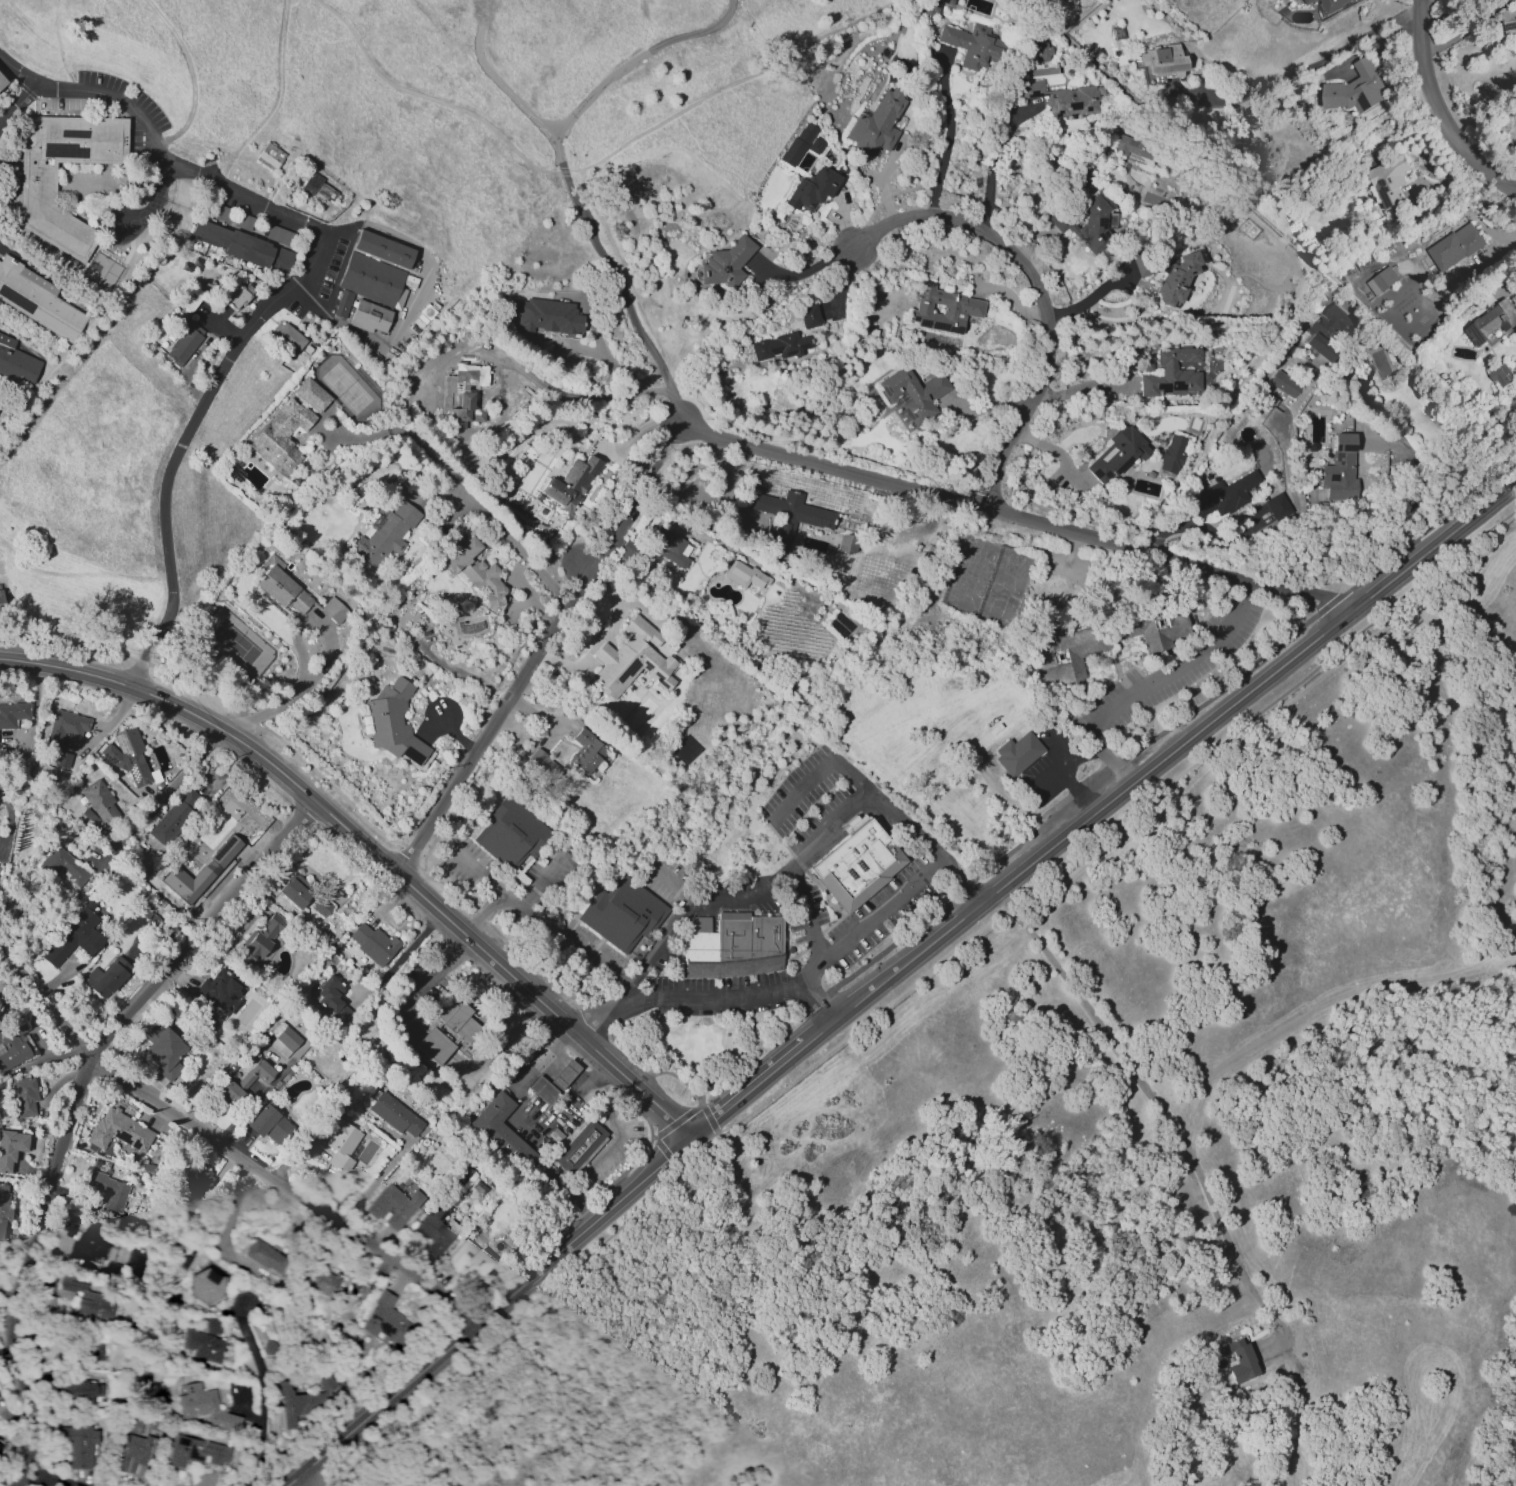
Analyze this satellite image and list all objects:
building: (1308, 1)
building: (1332, 4)
road: (50, 7)
road: (1448, 16)
building: (1508, 20)
road: (1467, 27)
road: (58, 39)
road: (1377, 43)
building: (971, 44)
building: (1043, 51)
building: (1161, 63)
road: (18, 71)
road: (1302, 72)
building: (1, 81)
building: (1356, 89)
parking lot: (125, 93)
road: (591, 96)
building: (1062, 98)
road: (16, 103)
road: (1438, 110)
road: (264, 116)
building: (877, 122)
road: (149, 128)
road: (948, 135)
building: (798, 144)
building: (815, 146)
building: (1132, 147)
building: (270, 156)
building: (1249, 156)
road: (598, 157)
road: (13, 160)
road: (37, 162)
road: (992, 164)
building: (1388, 181)
building: (37, 182)
building: (318, 188)
building: (812, 188)
road: (58, 201)
building: (1086, 224)
road: (1282, 233)
building: (243, 246)
building: (383, 247)
building: (1455, 247)
road: (316, 252)
road: (1498, 254)
building: (724, 266)
park: (102, 270)
road: (615, 272)
road: (800, 273)
building: (1175, 277)
building: (371, 278)
building: (1382, 281)
road: (1039, 292)
building: (237, 295)
road: (415, 297)
road: (1092, 297)
building: (38, 299)
building: (342, 302)
building: (943, 309)
building: (369, 315)
building: (809, 315)
building: (547, 316)
building: (1491, 324)
building: (1328, 330)
building: (287, 336)
building: (183, 343)
building: (779, 346)
building: (17, 361)
building: (1171, 373)
building: (1501, 375)
building: (1283, 383)
park: (345, 388)
road: (1084, 390)
building: (467, 392)
road: (567, 393)
building: (311, 394)
building: (924, 395)
road: (674, 429)
building: (281, 436)
road: (662, 449)
building: (1117, 454)
building: (1171, 455)
building: (1340, 469)
building: (570, 483)
road: (463, 492)
building: (1224, 495)
building: (1277, 505)
road: (629, 506)
building: (788, 513)
road: (1015, 514)
building: (385, 535)
road: (165, 542)
building: (668, 546)
road: (594, 559)
building: (475, 571)
building: (743, 574)
building: (280, 586)
building: (333, 610)
building: (0, 618)
road: (606, 637)
park: (235, 641)
building: (1104, 641)
road: (72, 644)
building: (632, 659)
road: (1157, 687)
road: (300, 692)
building: (13, 713)
road: (533, 714)
road: (494, 721)
building: (394, 723)
building: (66, 726)
road: (1166, 731)
road: (457, 735)
building: (586, 751)
building: (1017, 754)
building: (128, 757)
building: (62, 759)
road: (1159, 762)
building: (544, 768)
road: (820, 772)
road: (167, 791)
parking lot: (817, 804)
building: (98, 807)
building: (175, 816)
road: (10, 822)
road: (773, 825)
road: (906, 825)
road: (1116, 827)
building: (511, 833)
road: (382, 836)
building: (225, 850)
road: (371, 850)
road: (796, 864)
building: (61, 865)
building: (856, 865)
building: (1, 871)
road: (806, 872)
road: (540, 881)
building: (186, 882)
road: (959, 883)
building: (295, 891)
road: (701, 902)
building: (323, 904)
road: (483, 914)
building: (625, 916)
road: (537, 923)
parking lot: (857, 933)
building: (75, 936)
building: (260, 938)
road: (811, 939)
building: (373, 943)
road: (657, 944)
building: (731, 945)
road: (407, 953)
road: (732, 972)
road: (661, 973)
building: (106, 978)
road: (805, 979)
road: (428, 983)
building: (217, 993)
building: (332, 999)
road: (818, 1001)
road: (48, 1003)
road: (603, 1012)
building: (446, 1032)
building: (284, 1038)
building: (14, 1045)
park: (701, 1046)
road: (433, 1047)
road: (498, 1049)
building: (164, 1050)
building: (243, 1082)
building: (552, 1082)
road: (747, 1090)
building: (25, 1096)
road: (72, 1108)
road: (1164, 1112)
building: (394, 1114)
road: (677, 1120)
road: (711, 1122)
road: (516, 1123)
building: (269, 1124)
building: (503, 1132)
building: (340, 1142)
building: (579, 1146)
building: (10, 1148)
road: (604, 1155)
road: (669, 1158)
road: (636, 1159)
road: (374, 1181)
road: (285, 1186)
building: (194, 1190)
building: (109, 1191)
building: (393, 1206)
building: (4, 1207)
road: (227, 1217)
building: (435, 1231)
building: (84, 1239)
building: (265, 1257)
building: (469, 1259)
building: (324, 1283)
building: (207, 1285)
building: (87, 1298)
road: (487, 1312)
road: (539, 1318)
building: (386, 1321)
building: (204, 1341)
building: (1233, 1359)
building: (79, 1390)
road: (259, 1396)
building: (306, 1399)
building: (205, 1409)
building: (77, 1444)
building: (0, 1446)
building: (136, 1447)
building: (195, 1452)
road: (402, 1468)
road: (309, 1478)
road: (48, 1481)

